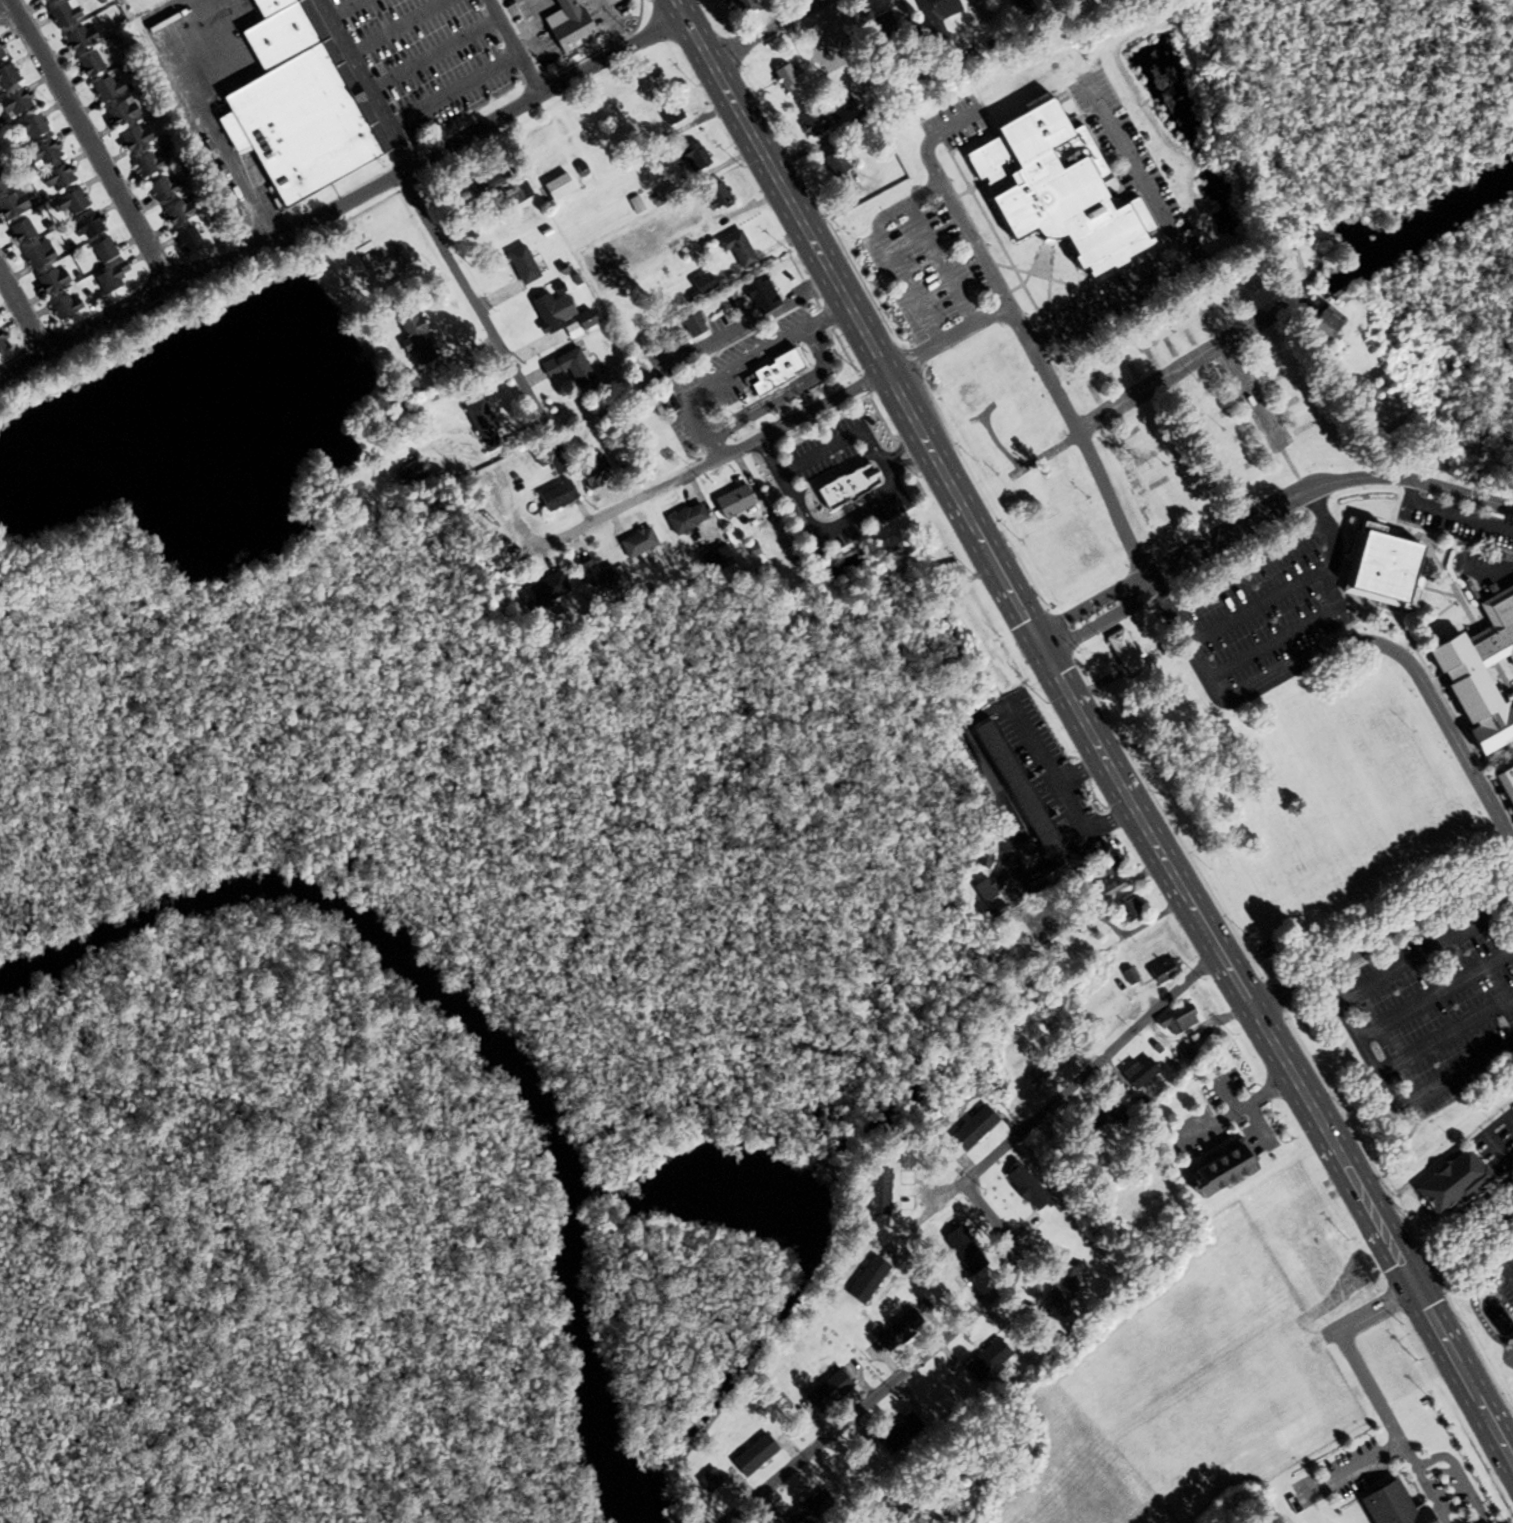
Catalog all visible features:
building: (44, 1)
building: (741, 6)
road: (7, 13)
building: (62, 13)
building: (935, 14)
building: (563, 25)
building: (879, 27)
road: (770, 30)
building: (78, 37)
road: (514, 48)
building: (0, 52)
building: (819, 56)
building: (88, 64)
building: (785, 74)
building: (7, 75)
building: (648, 78)
road: (371, 84)
building: (105, 88)
building: (845, 101)
building: (14, 102)
building: (295, 104)
building: (119, 112)
building: (670, 113)
road: (205, 115)
building: (812, 122)
building: (30, 126)
building: (133, 137)
road: (90, 142)
building: (41, 153)
building: (692, 156)
road: (430, 158)
building: (835, 161)
building: (146, 164)
building: (55, 177)
building: (1, 183)
building: (555, 187)
building: (160, 188)
building: (499, 188)
building: (1053, 189)
building: (713, 196)
building: (70, 202)
building: (11, 204)
building: (177, 212)
building: (84, 226)
building: (20, 230)
building: (186, 239)
road: (1177, 240)
building: (102, 249)
building: (735, 249)
road: (889, 250)
building: (36, 254)
road: (941, 263)
building: (520, 264)
building: (1290, 266)
building: (109, 278)
building: (49, 279)
building: (701, 283)
building: (759, 295)
road: (474, 297)
building: (62, 306)
road: (23, 309)
road: (831, 312)
building: (556, 313)
building: (1321, 323)
building: (692, 325)
road: (84, 330)
road: (1023, 330)
road: (948, 338)
building: (414, 340)
building: (1, 343)
road: (689, 353)
road: (733, 366)
building: (567, 367)
building: (772, 372)
road: (1147, 386)
building: (1015, 391)
building: (969, 392)
road: (1251, 392)
road: (786, 394)
building: (481, 426)
road: (901, 445)
road: (712, 446)
road: (821, 450)
building: (549, 456)
road: (910, 459)
road: (685, 470)
building: (593, 472)
building: (407, 476)
road: (1320, 484)
building: (844, 486)
building: (1055, 492)
building: (554, 496)
building: (730, 501)
road: (1452, 513)
building: (684, 519)
road: (837, 524)
parking lot: (1456, 524)
building: (636, 542)
building: (714, 559)
building: (1387, 568)
road: (1496, 569)
building: (596, 578)
road: (1295, 584)
road: (1201, 589)
building: (544, 592)
road: (1089, 603)
parking lot: (1265, 606)
road: (1102, 620)
road: (1289, 633)
traffic signals: (1042, 644)
building: (1127, 650)
road: (1410, 666)
building: (1483, 673)
road: (1097, 685)
road: (1091, 729)
building: (1013, 781)
building: (1507, 781)
building: (1102, 876)
building: (983, 890)
building: (1127, 910)
road: (1386, 934)
building: (1102, 946)
road: (1427, 954)
building: (1162, 972)
road: (1436, 995)
parking lot: (1433, 1007)
building: (1176, 1020)
road: (1445, 1035)
building: (1044, 1072)
building: (1139, 1074)
road: (1073, 1082)
road: (1389, 1097)
building: (1094, 1116)
building: (972, 1128)
building: (1217, 1169)
building: (1450, 1183)
building: (1024, 1188)
building: (877, 1189)
road: (1456, 1215)
building: (963, 1250)
traffic signals: (1400, 1261)
building: (866, 1281)
building: (1063, 1288)
building: (899, 1332)
building: (985, 1361)
road: (910, 1365)
building: (827, 1392)
building: (1403, 1432)
building: (897, 1433)
building: (752, 1456)
building: (1359, 1477)
building: (708, 1481)
building: (813, 1506)

